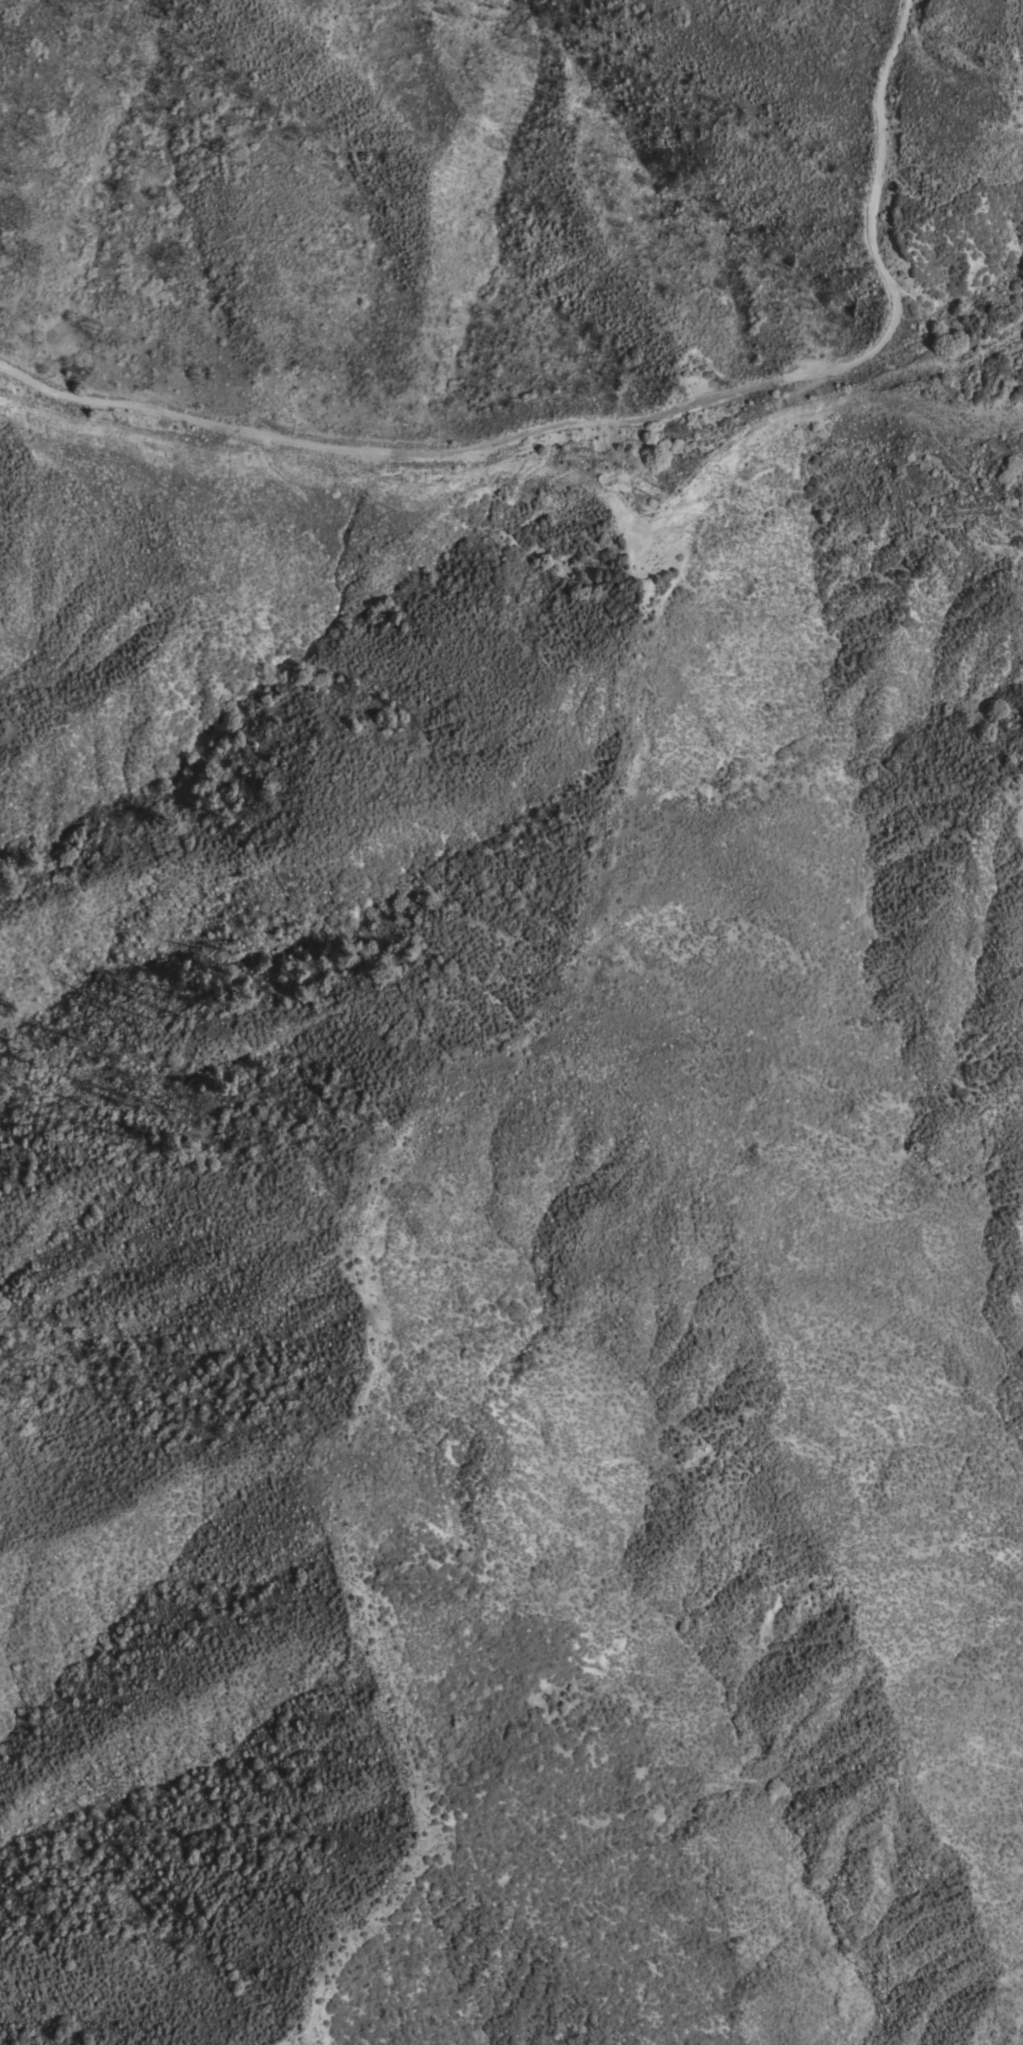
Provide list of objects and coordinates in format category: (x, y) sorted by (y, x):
road: (622, 414)
building: (601, 478)

